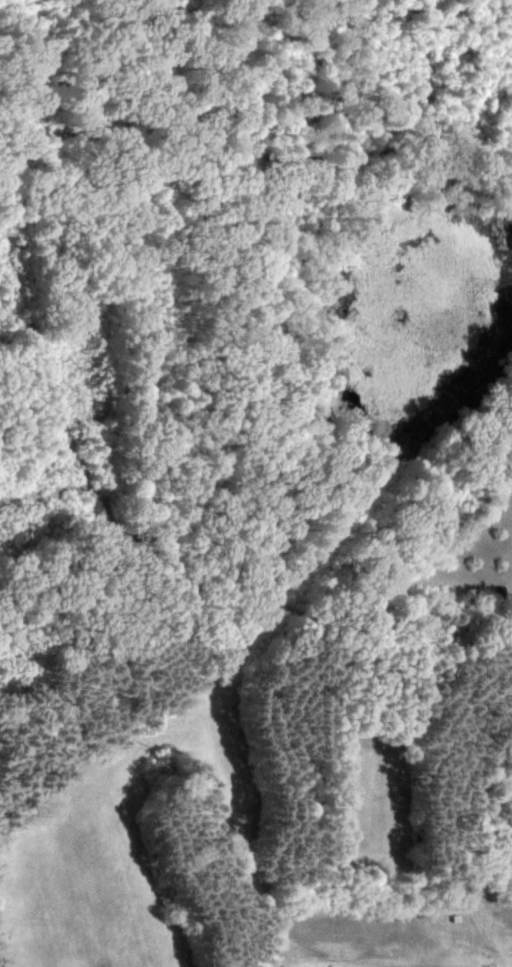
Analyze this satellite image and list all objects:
park: (497, 66)
park: (256, 137)

